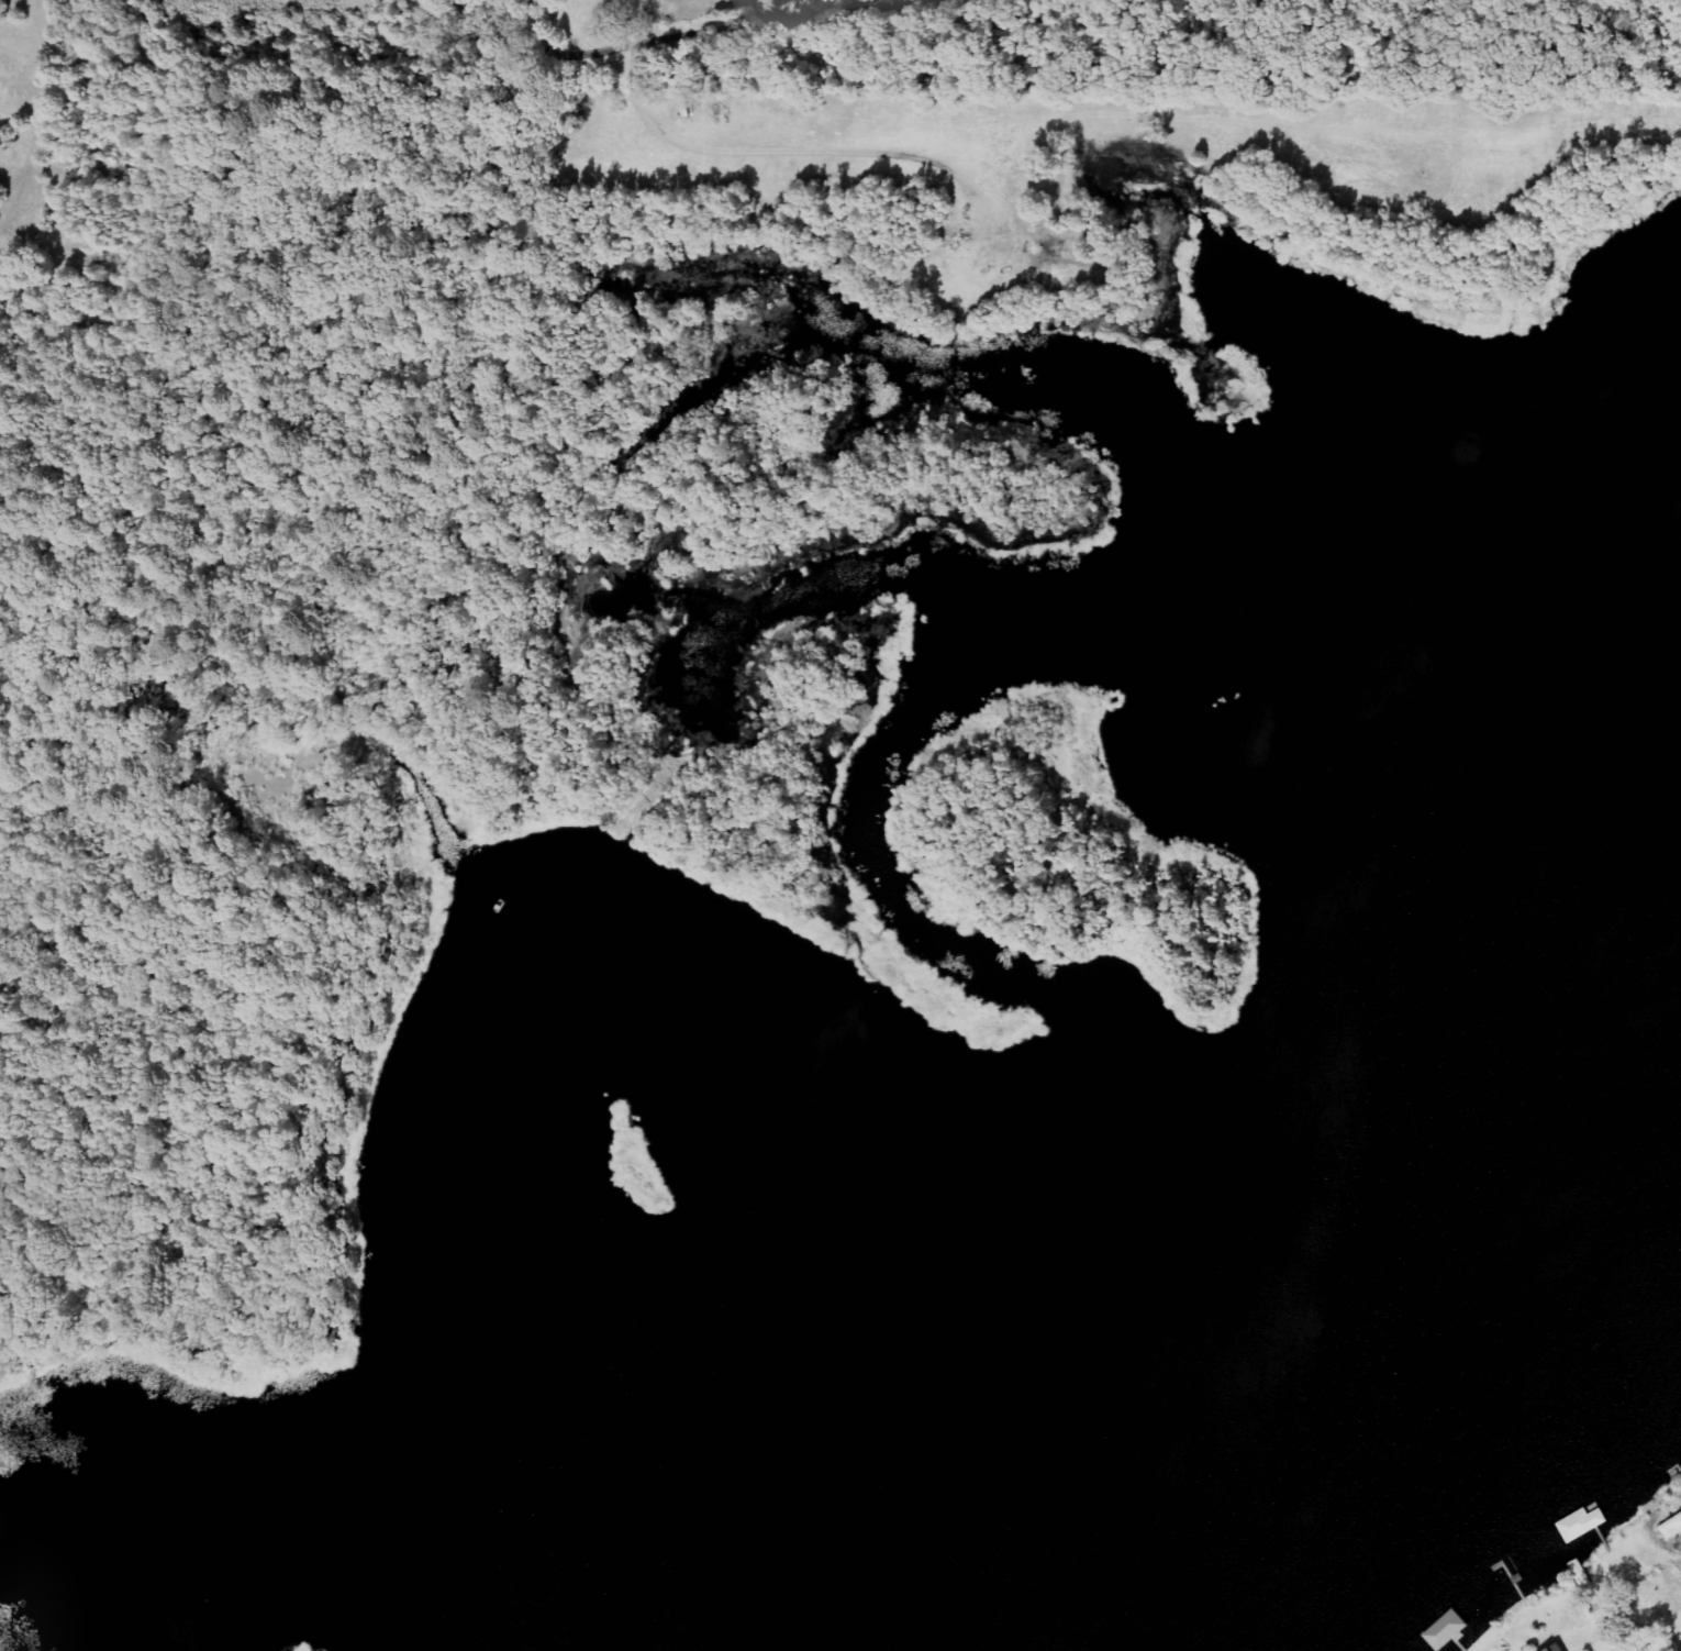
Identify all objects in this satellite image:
road: (701, 34)
building: (1582, 1525)
building: (1671, 1528)
building: (1447, 1630)
building: (1558, 1648)

